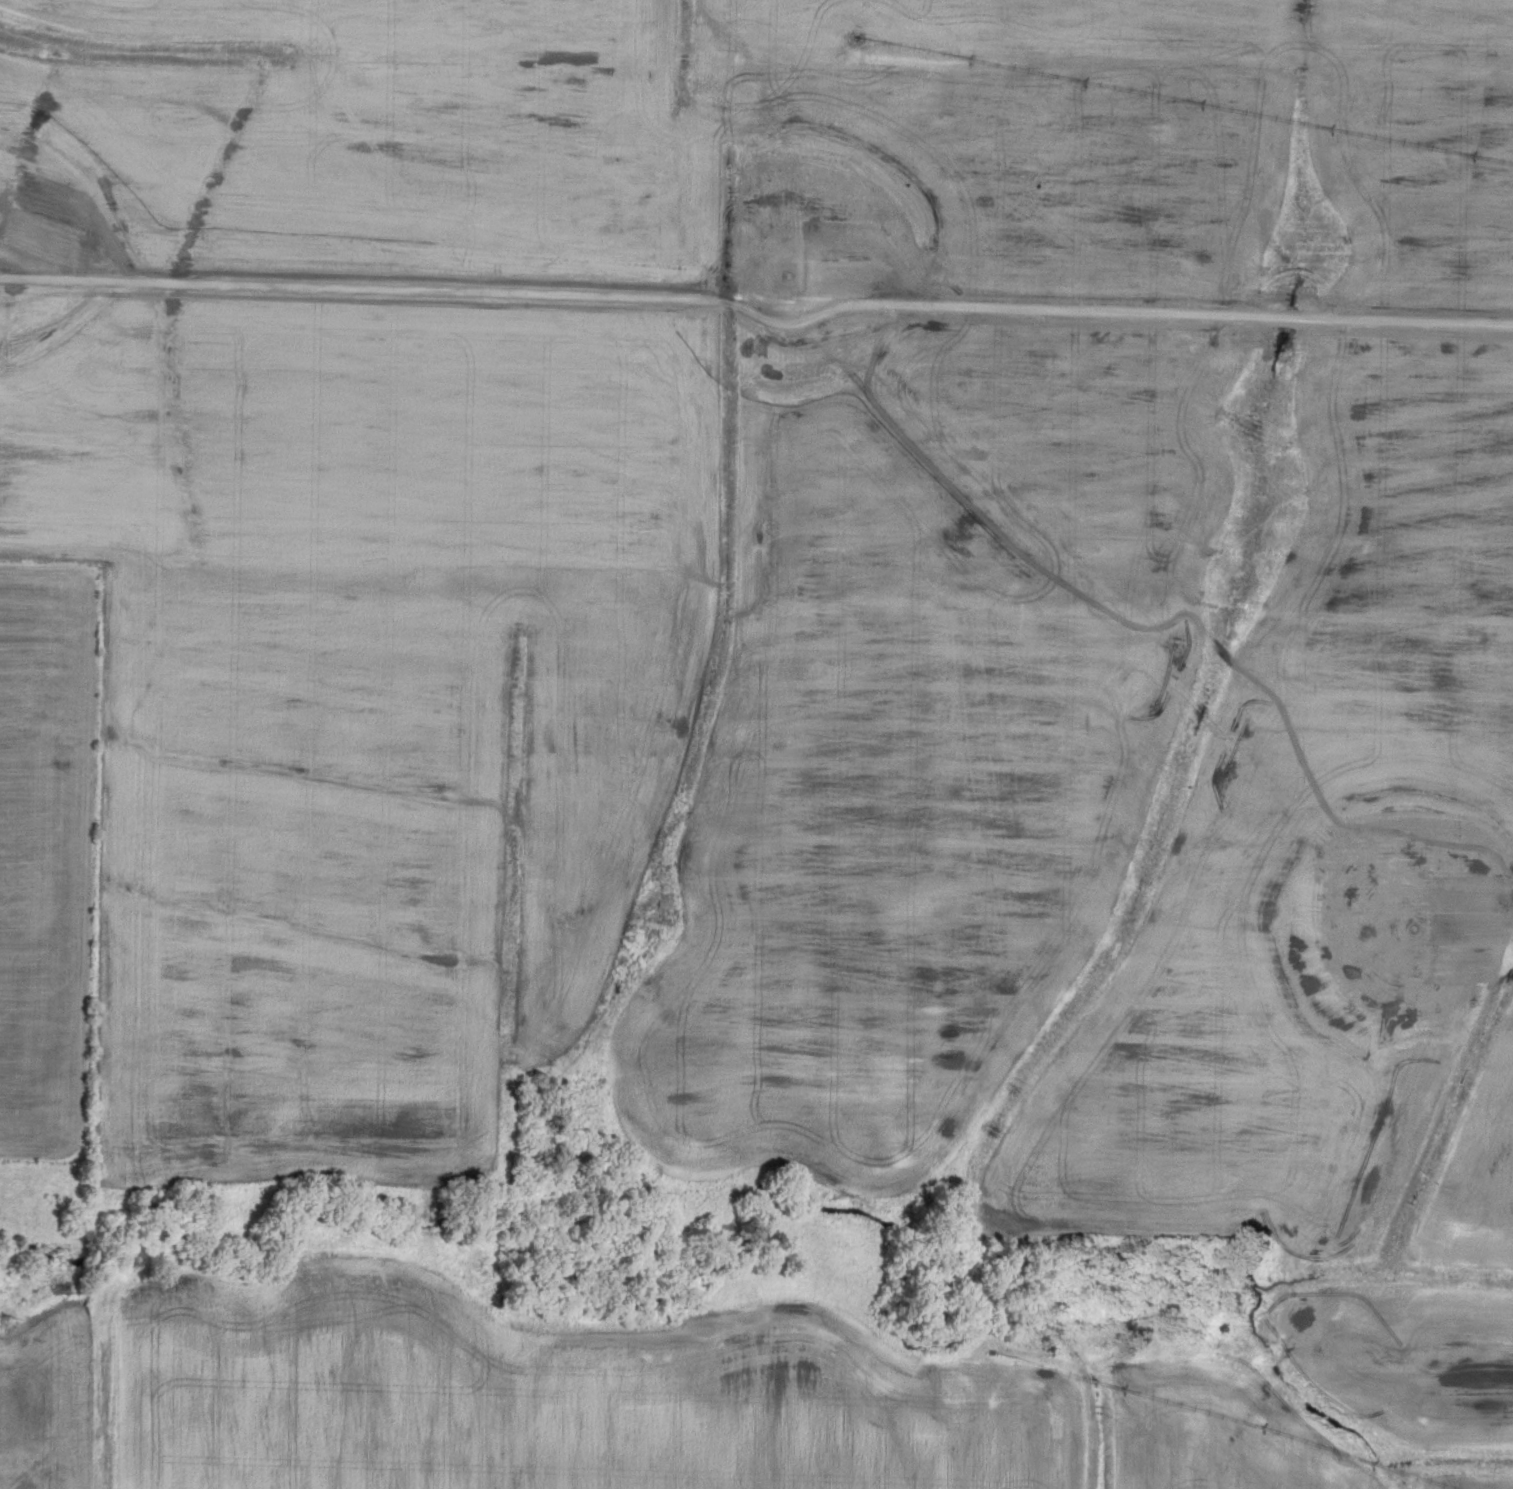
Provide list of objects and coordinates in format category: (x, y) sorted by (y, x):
wind turbine: (1, 235)
wind turbine: (789, 278)
wind turbine: (1405, 934)

